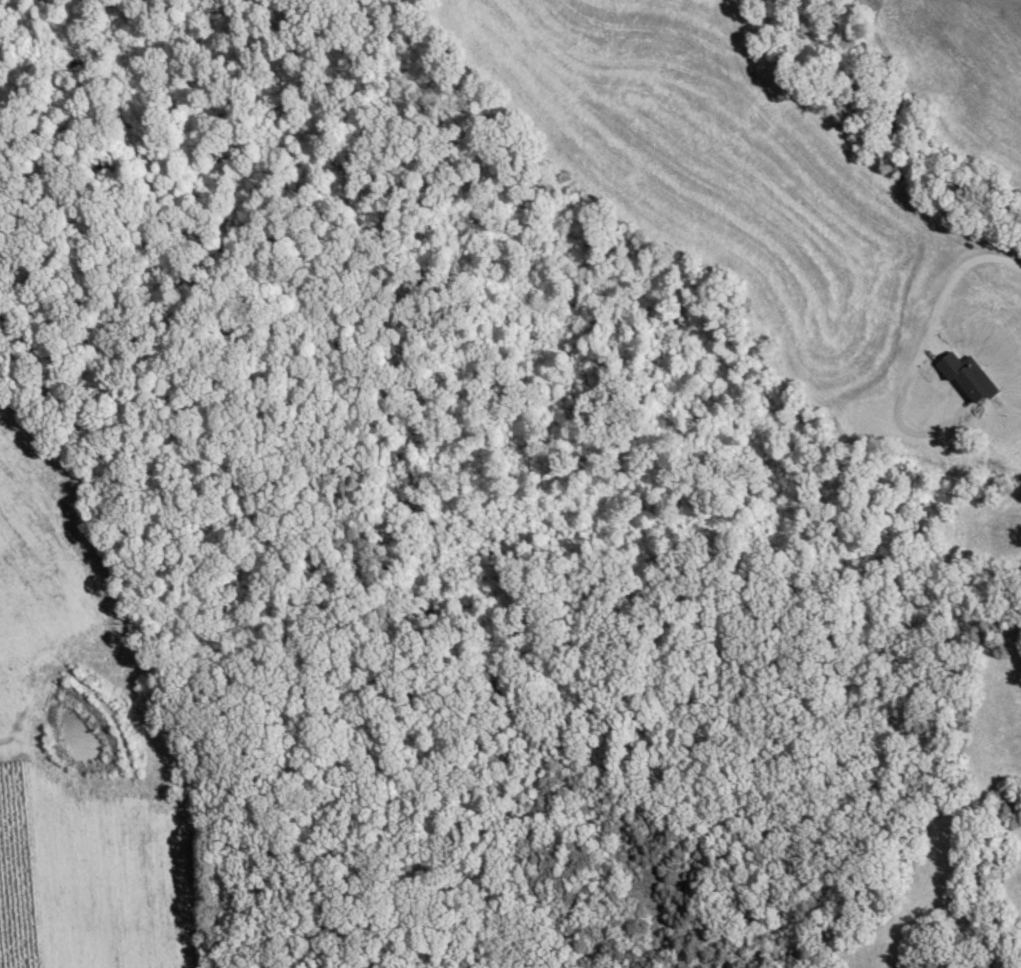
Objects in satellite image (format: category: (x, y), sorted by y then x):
road: (175, 894)

